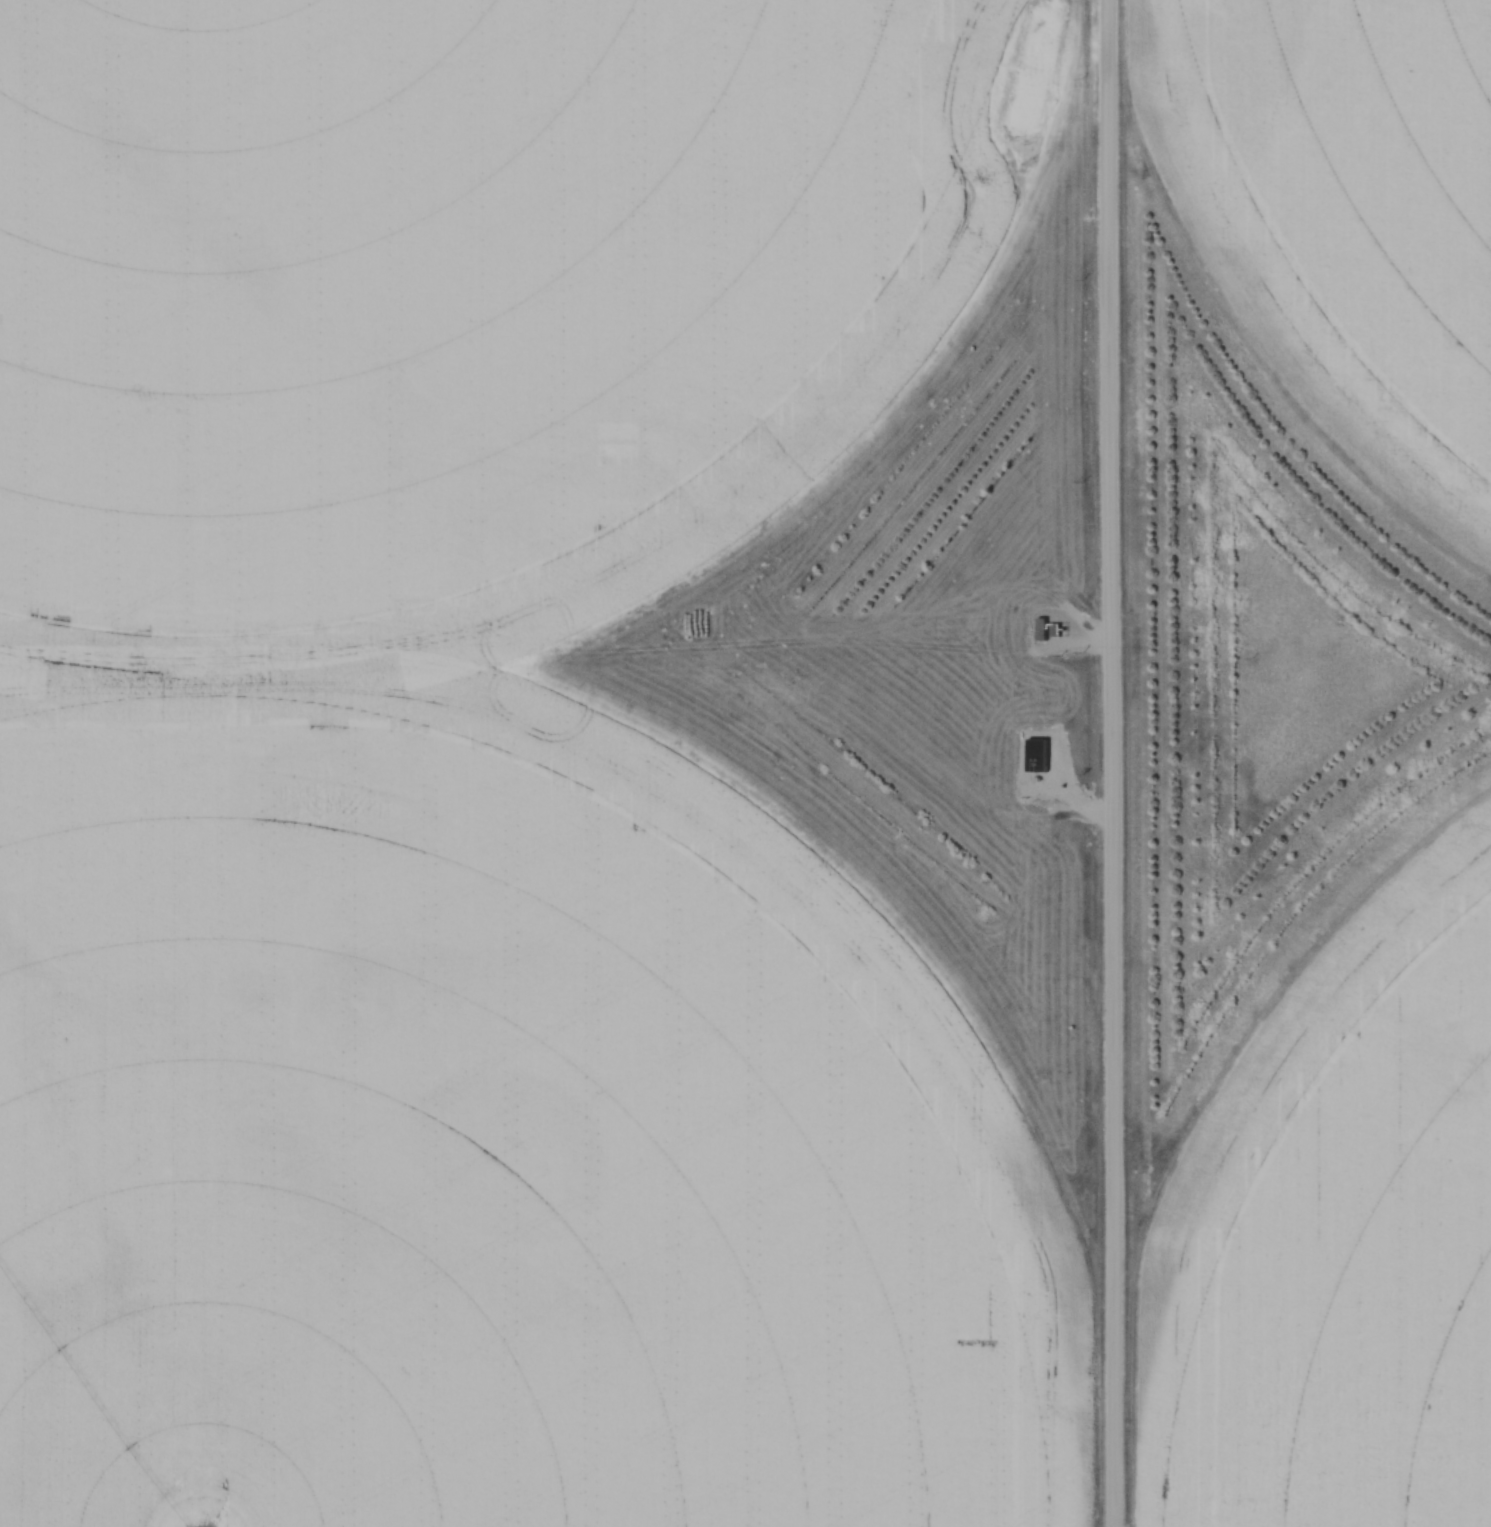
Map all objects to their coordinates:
building: (1041, 631)
building: (1039, 758)
road: (1107, 763)
building: (806, 1321)
building: (101, 1348)
building: (686, 1376)
building: (621, 1430)
building: (529, 1450)

